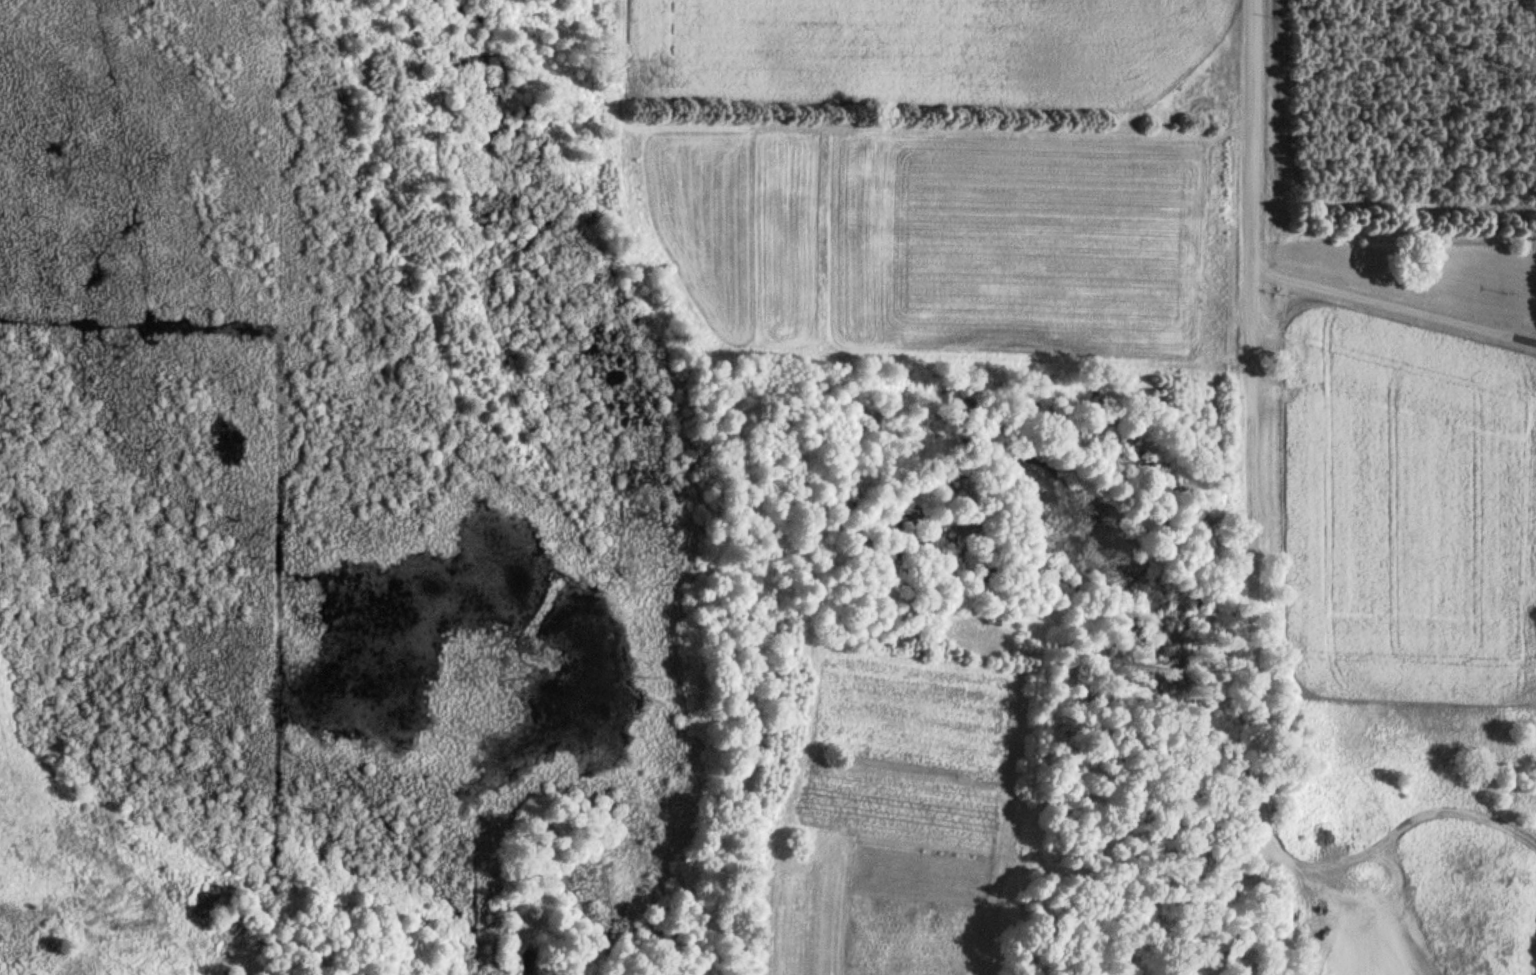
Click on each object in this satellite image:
road: (1254, 153)
road: (1382, 302)
road: (1523, 338)
road: (1283, 391)
road: (1257, 606)
road: (1270, 902)
quarry: (1368, 928)

